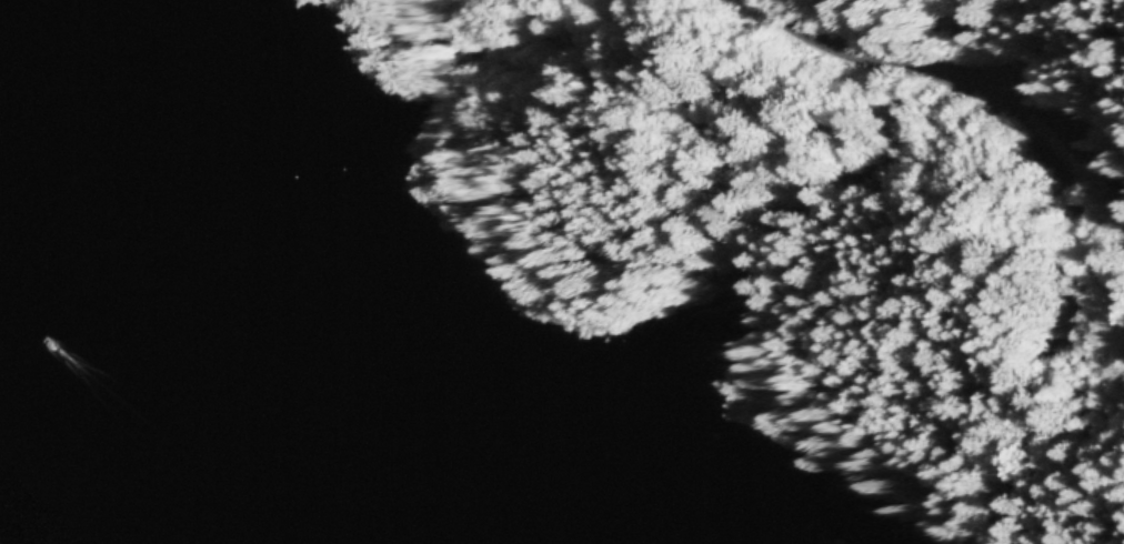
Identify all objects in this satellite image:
road: (870, 43)
road: (1068, 134)
road: (1060, 210)

